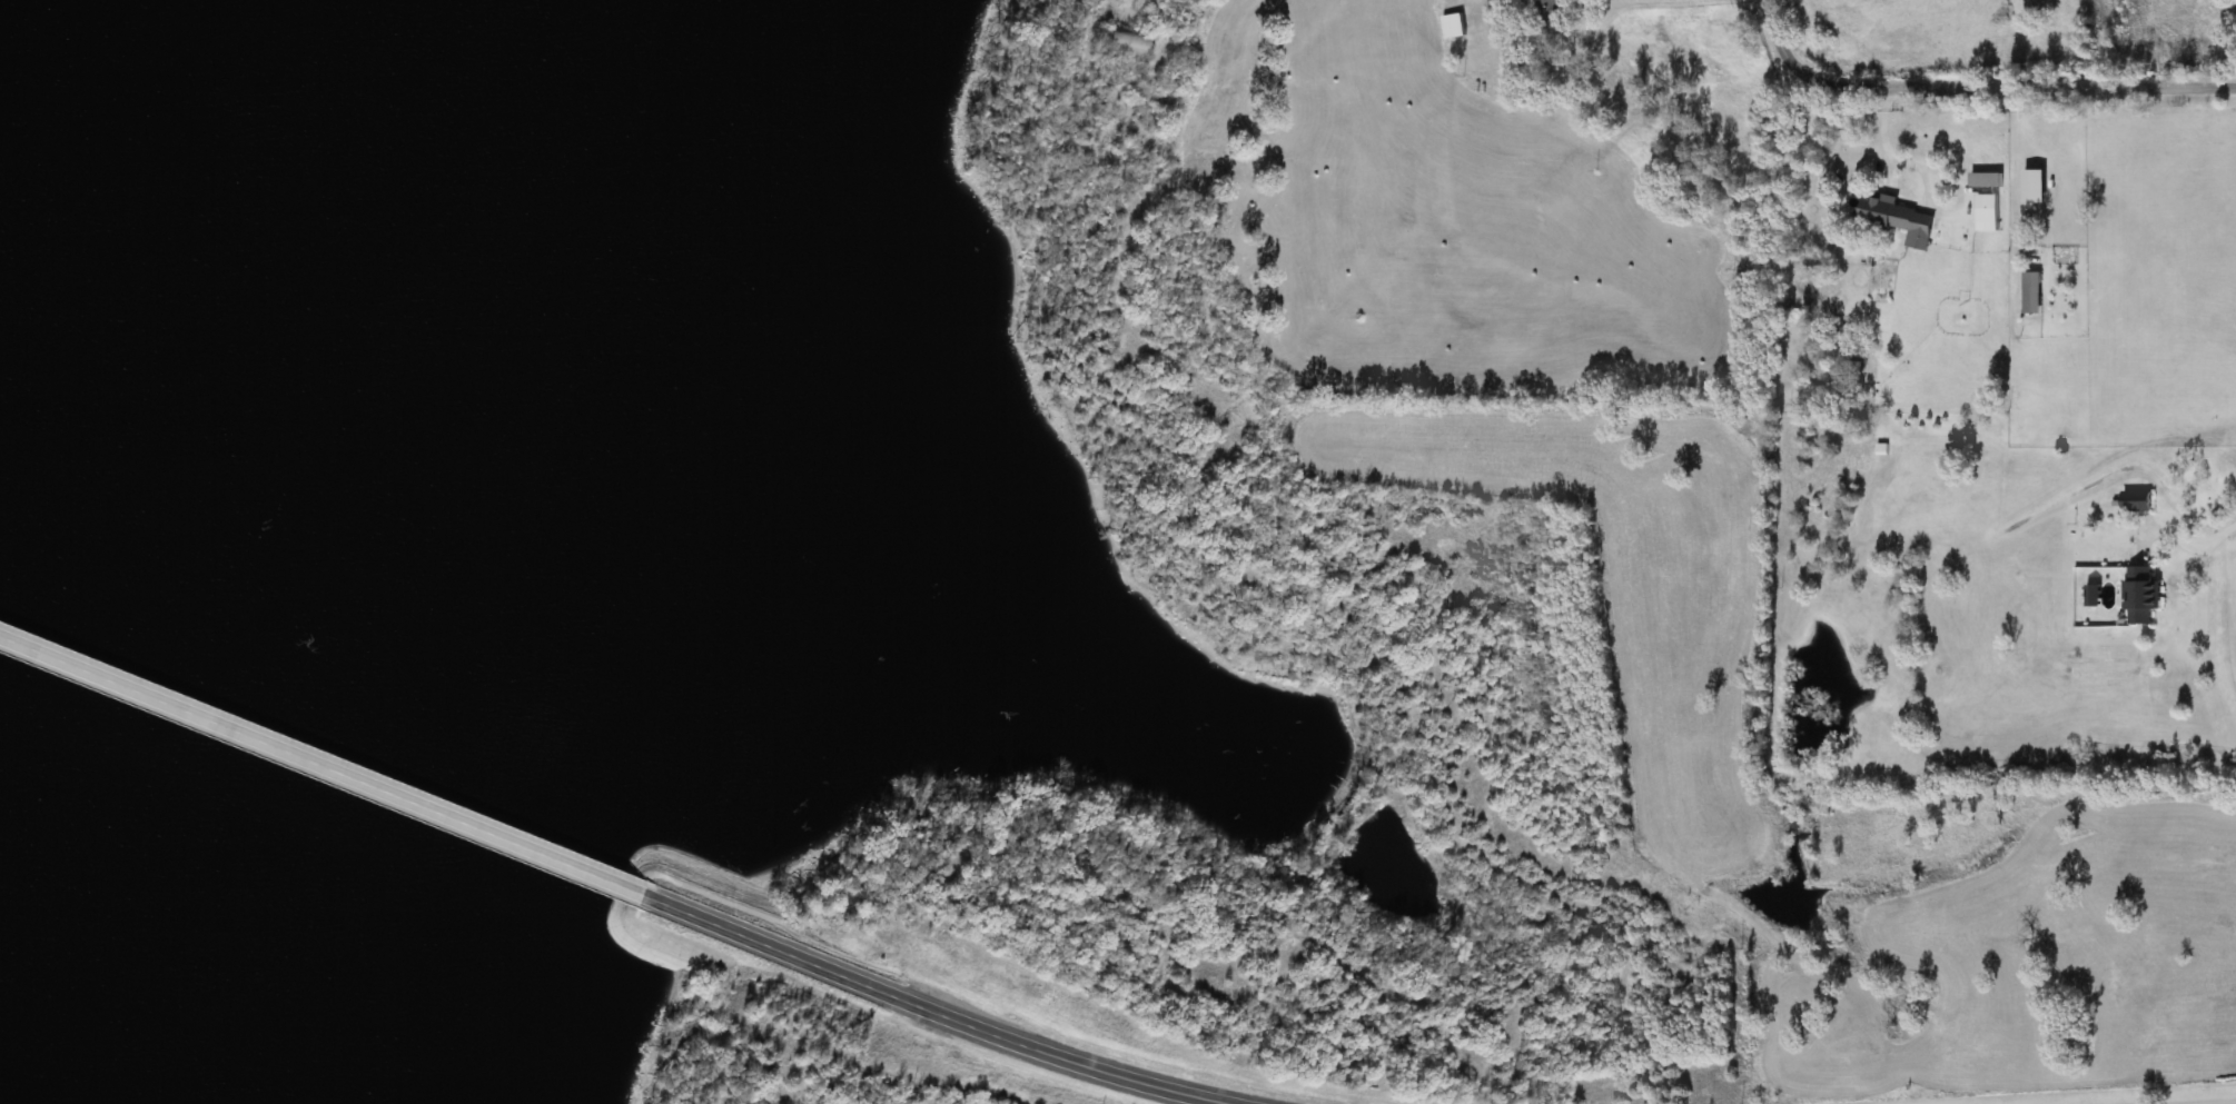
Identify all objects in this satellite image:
road: (1671, 6)
building: (1546, 17)
building: (1453, 26)
road: (1971, 76)
road: (1882, 141)
building: (1985, 208)
building: (1892, 217)
river: (63, 256)
building: (1852, 367)
building: (2134, 500)
road: (2181, 538)
building: (2138, 594)
road: (321, 769)
road: (931, 1006)

